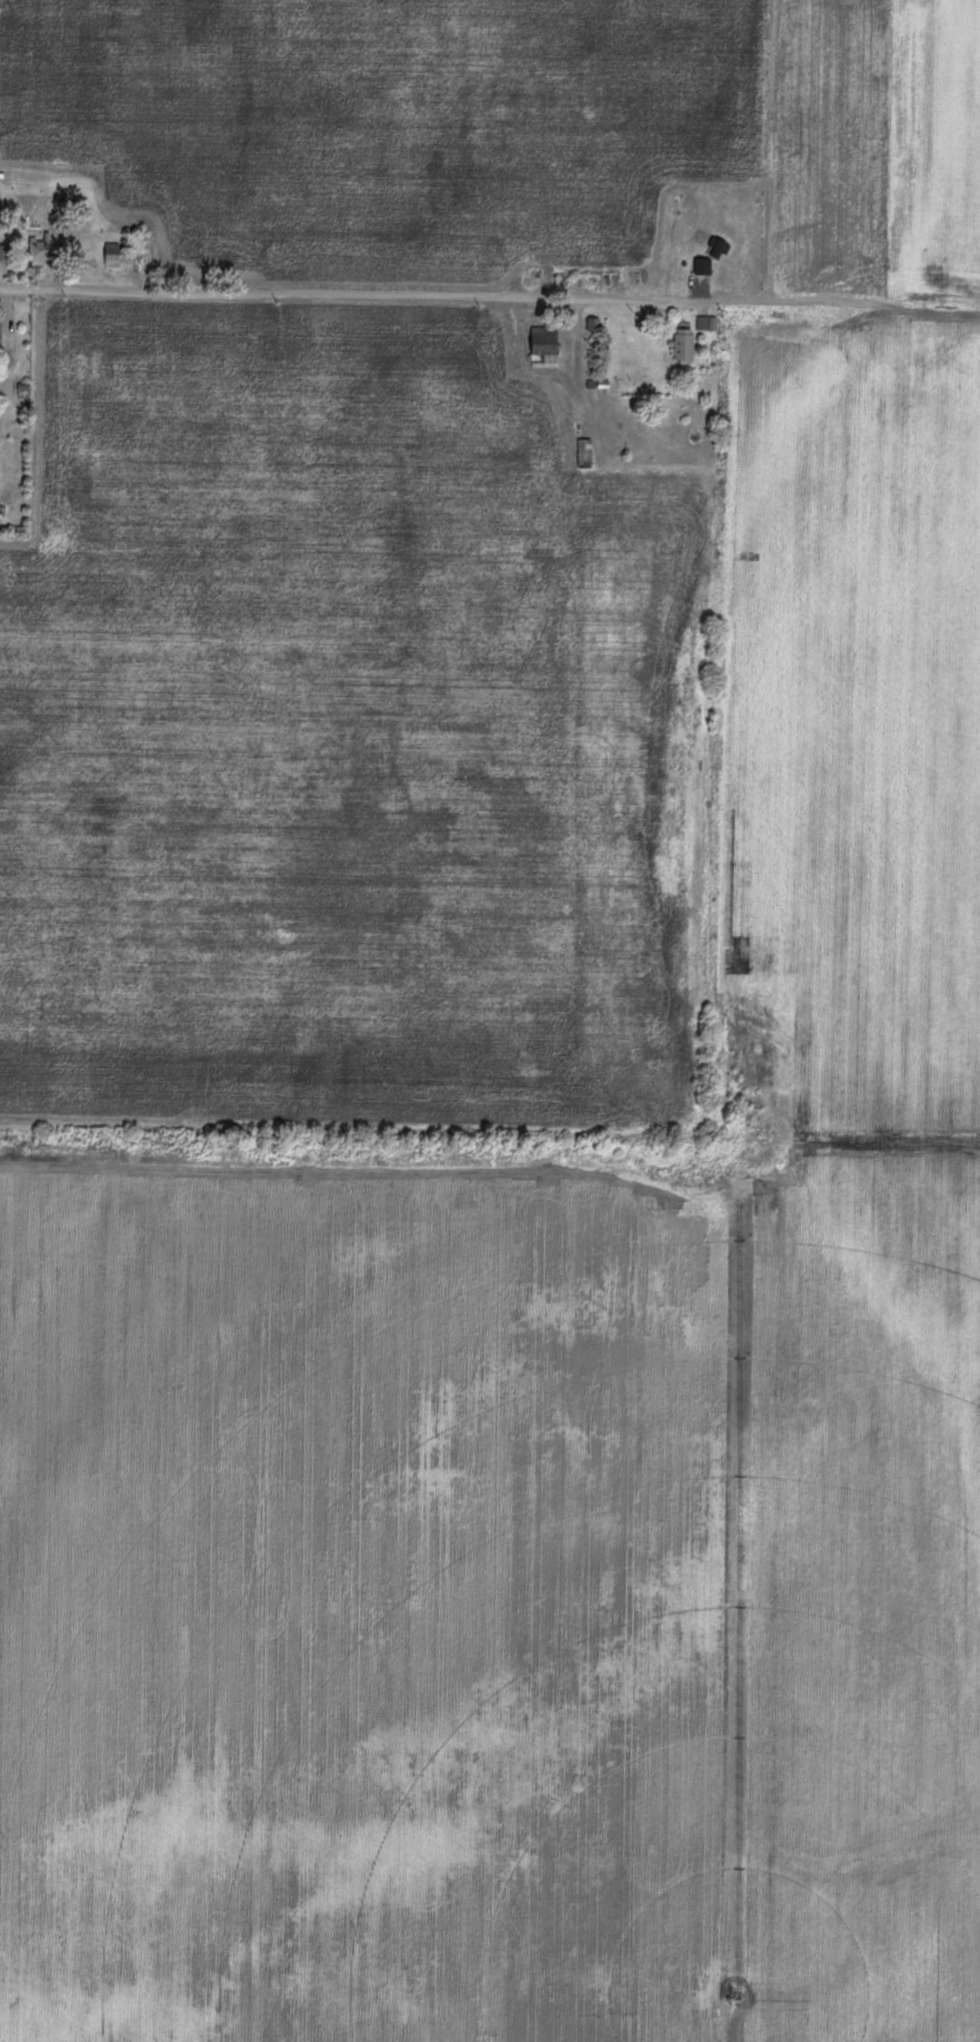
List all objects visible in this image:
road: (355, 297)
building: (685, 344)

